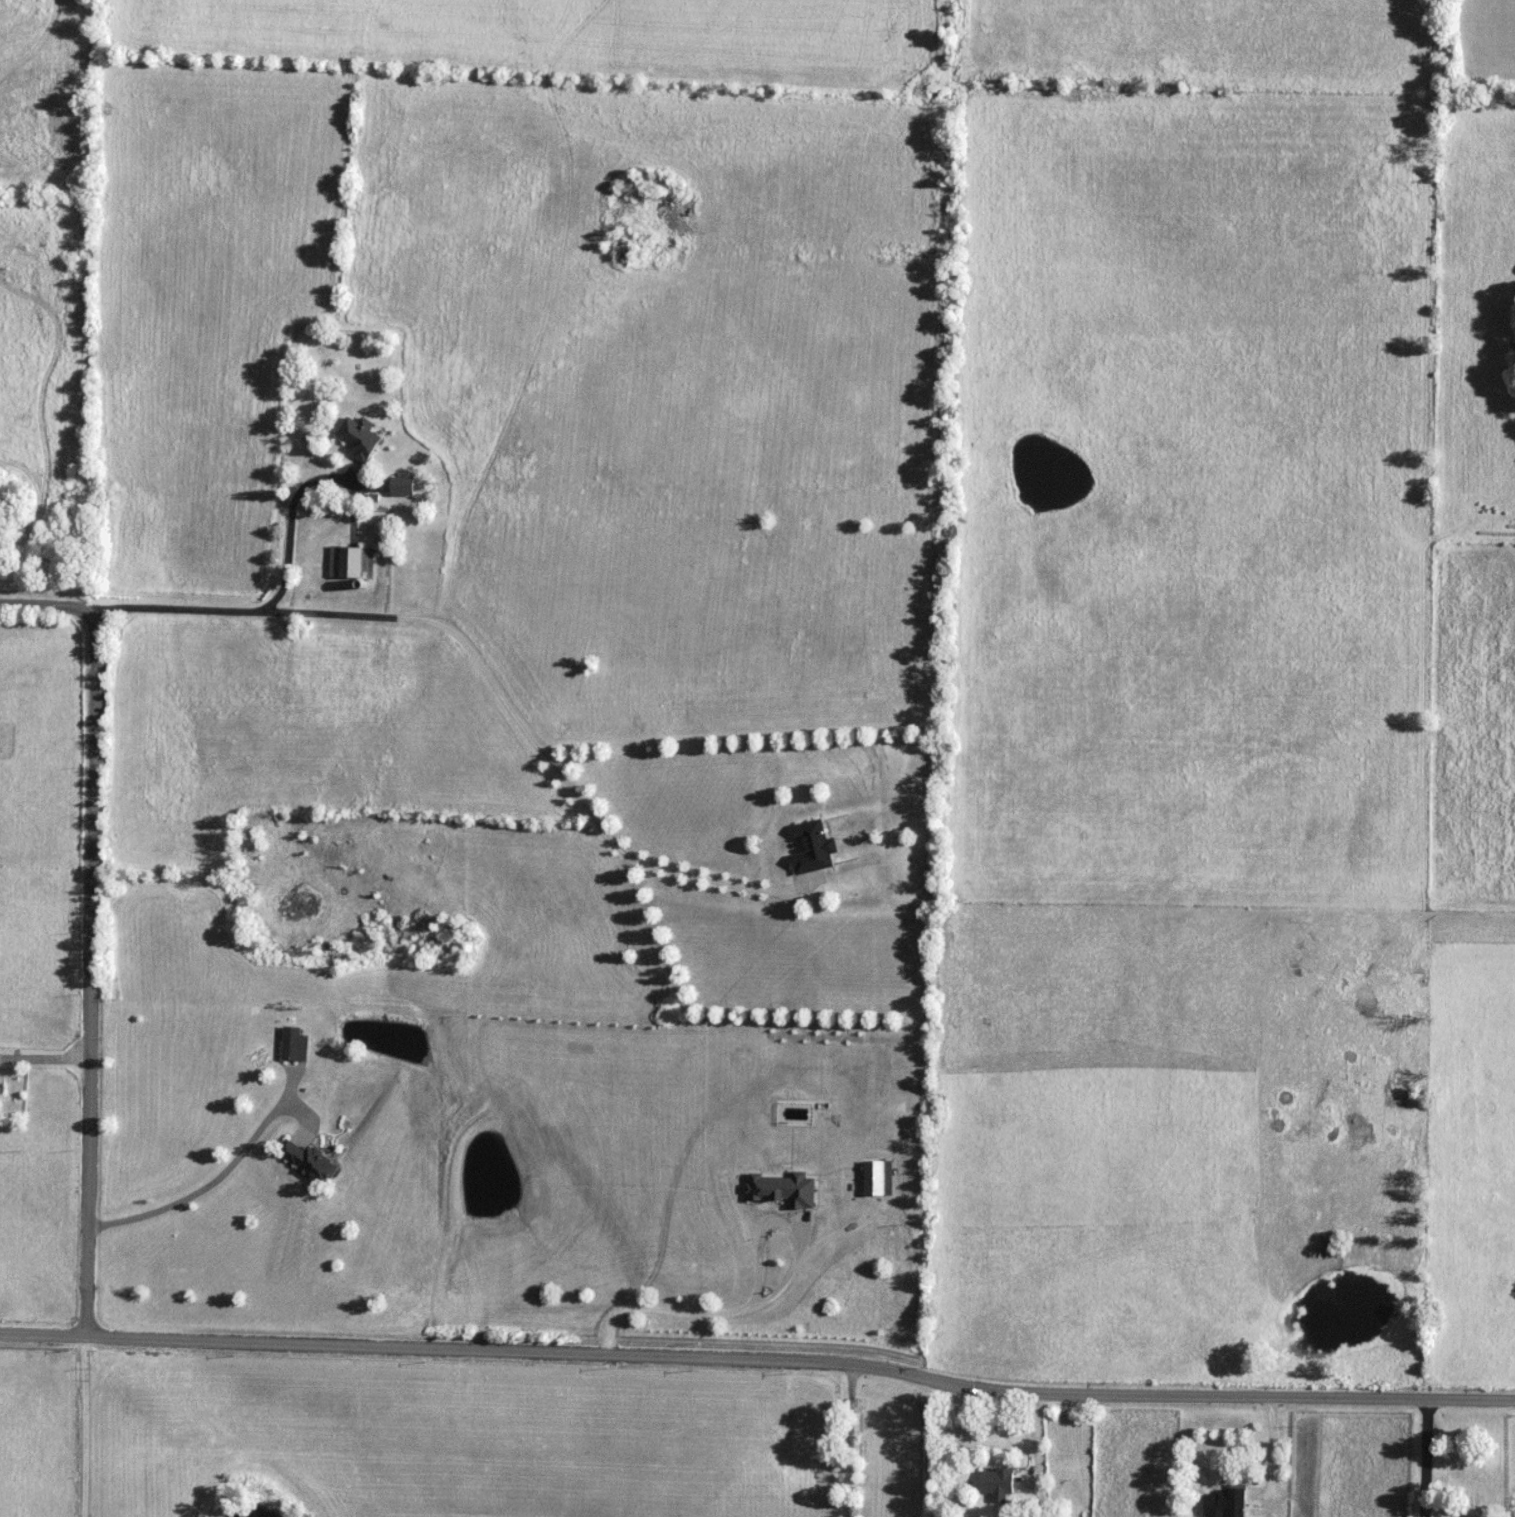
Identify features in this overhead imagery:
building: (360, 438)
building: (404, 487)
road: (286, 521)
building: (352, 563)
road: (55, 608)
road: (474, 656)
building: (816, 848)
road: (91, 988)
building: (292, 1047)
building: (310, 1161)
road: (209, 1183)
road: (763, 1301)
road: (758, 1363)
road: (86, 1428)
road: (854, 1441)
road: (1272, 1446)
road: (1427, 1459)
building: (998, 1482)
road: (1298, 1496)
building: (1227, 1504)

